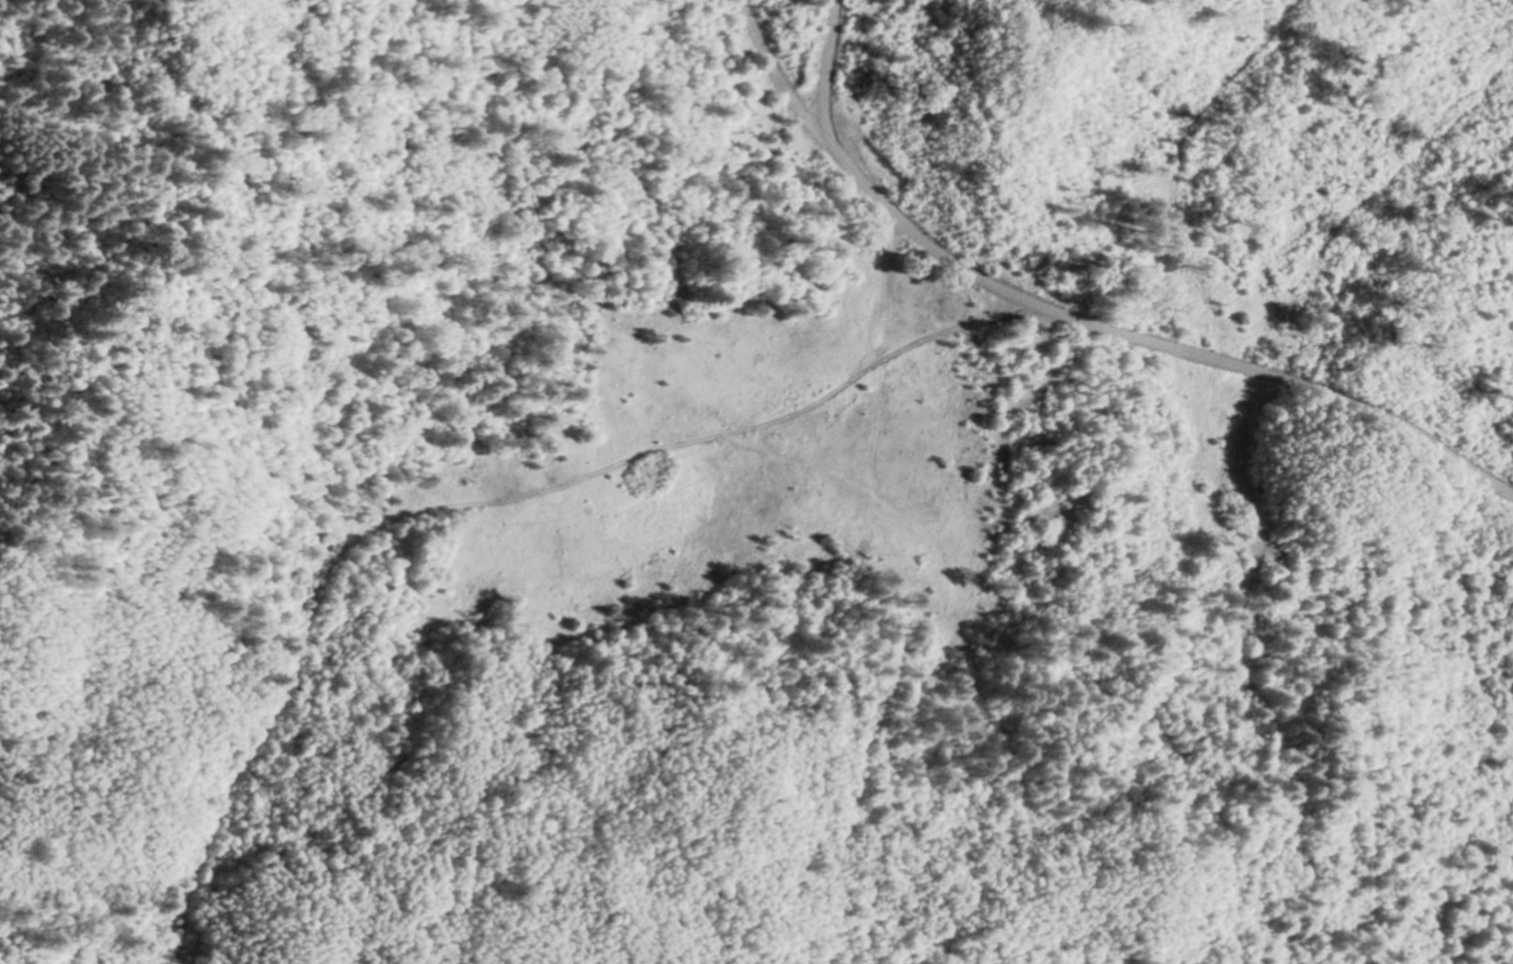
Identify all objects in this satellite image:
road: (827, 61)
road: (1073, 318)
road: (477, 503)

